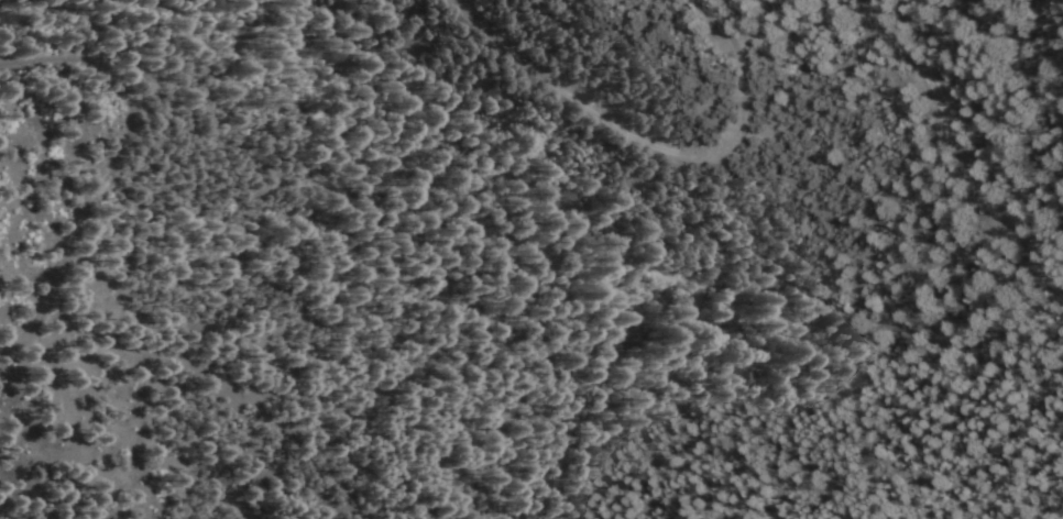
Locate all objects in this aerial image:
road: (658, 144)
road: (968, 147)
road: (112, 157)

